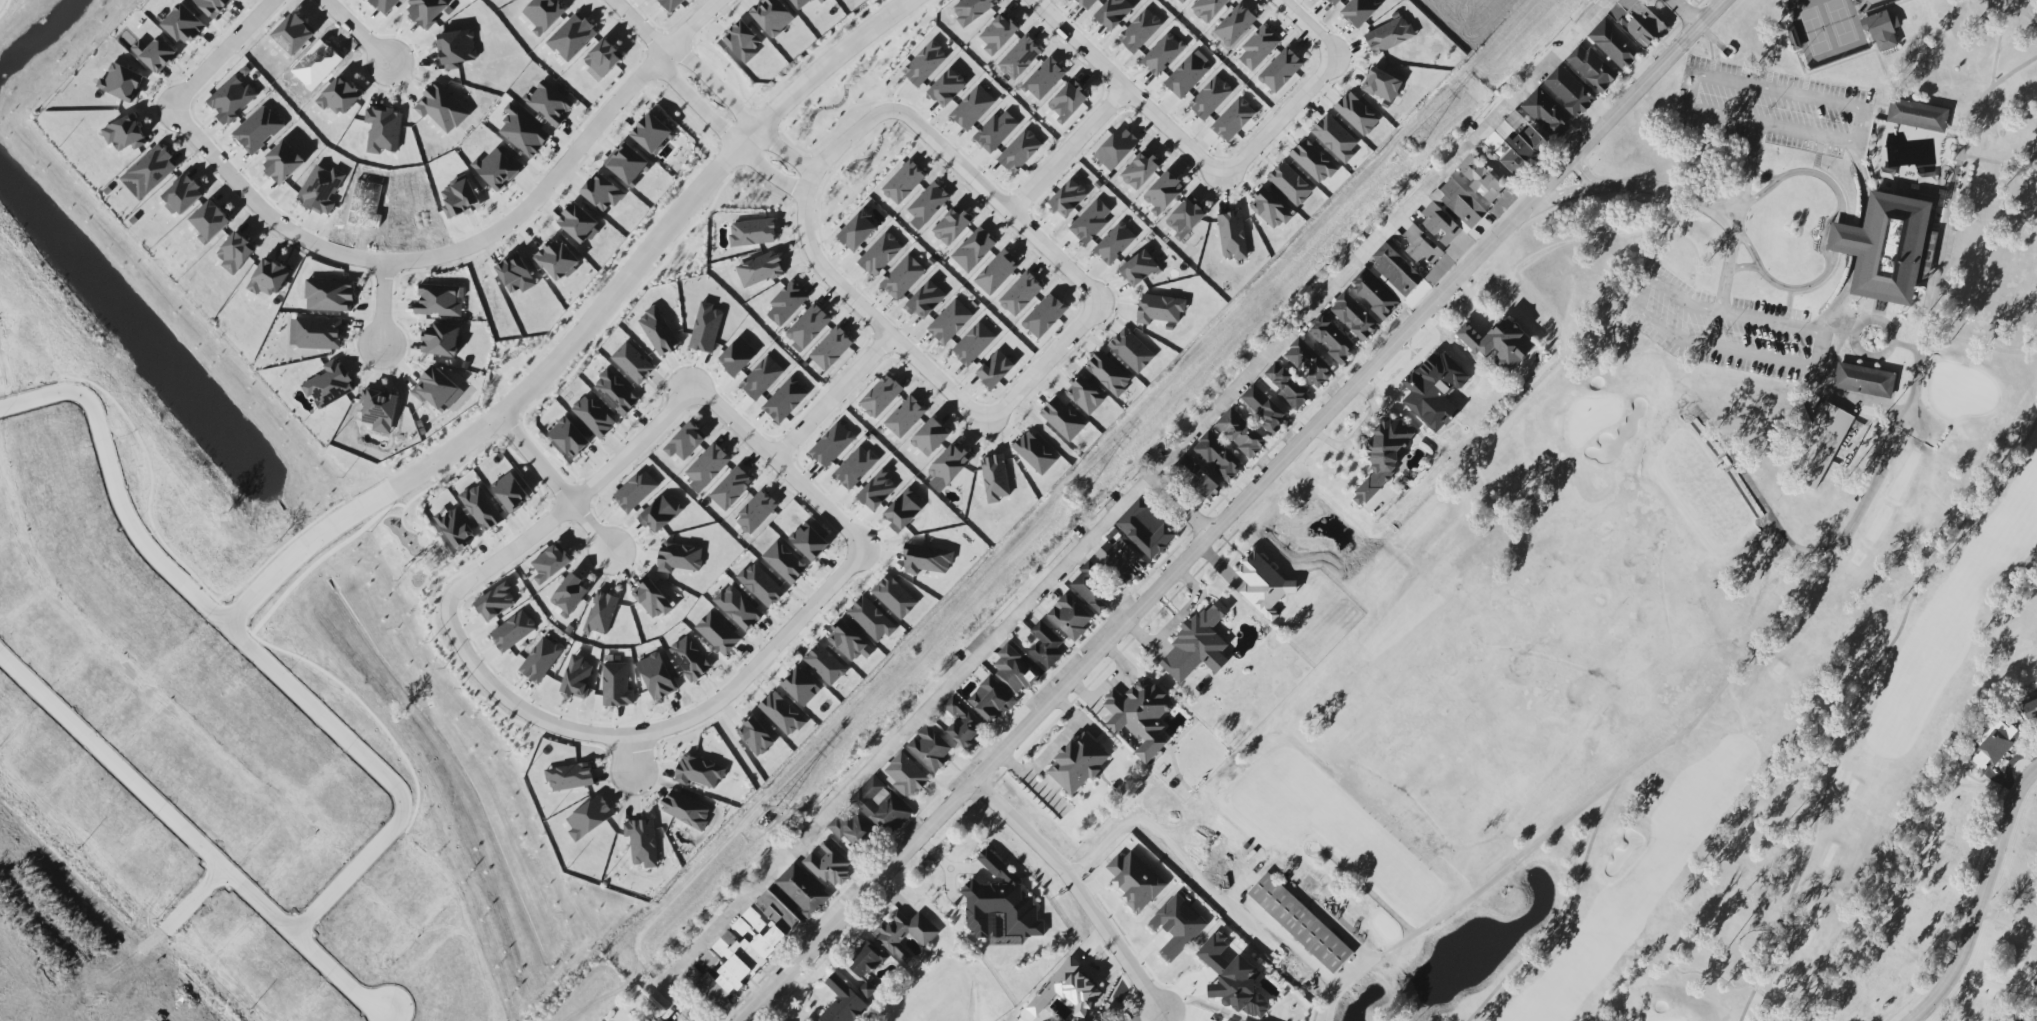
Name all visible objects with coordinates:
building: (1180, 1)
building: (1334, 2)
building: (801, 3)
building: (1086, 3)
building: (671, 4)
building: (385, 5)
building: (213, 6)
building: (973, 9)
building: (1209, 9)
building: (426, 11)
building: (1360, 11)
building: (1114, 13)
building: (544, 14)
road: (1690, 14)
building: (773, 16)
building: (1638, 21)
building: (183, 24)
building: (1235, 25)
road: (637, 27)
road: (1307, 29)
building: (1883, 30)
building: (1140, 31)
road: (356, 33)
building: (294, 34)
building: (998, 34)
building: (1389, 35)
building: (572, 37)
building: (743, 42)
building: (1615, 44)
road: (1066, 45)
building: (1259, 47)
building: (457, 49)
building: (156, 53)
building: (1163, 53)
road: (223, 55)
building: (604, 58)
building: (1020, 58)
building: (925, 63)
building: (1592, 68)
building: (1281, 70)
building: (1187, 76)
building: (1044, 79)
road: (810, 80)
building: (122, 83)
park: (854, 86)
building: (1382, 86)
building: (947, 88)
road: (1126, 91)
building: (1569, 91)
building: (339, 97)
building: (1210, 98)
building: (231, 100)
building: (1068, 101)
building: (549, 103)
building: (441, 108)
building: (972, 108)
road: (740, 111)
building: (1547, 113)
building: (1357, 114)
building: (1918, 115)
building: (1233, 119)
road: (1280, 121)
building: (258, 129)
building: (383, 129)
building: (996, 131)
building: (524, 133)
building: (125, 134)
building: (652, 134)
road: (723, 134)
road: (949, 137)
building: (1335, 138)
building: (1516, 142)
road: (1859, 143)
power tower: (1412, 147)
building: (1116, 148)
building: (1020, 151)
road: (1068, 154)
road: (1213, 154)
road: (1999, 157)
road: (570, 161)
building: (1313, 161)
building: (283, 163)
building: (627, 163)
building: (498, 169)
park: (861, 171)
building: (1140, 171)
building: (150, 172)
road: (1502, 173)
road: (1580, 173)
road: (1764, 173)
building: (1480, 177)
building: (904, 182)
building: (1290, 184)
road: (1624, 186)
road: (1954, 187)
building: (321, 189)
building: (603, 192)
building: (1164, 193)
building: (183, 195)
building: (1068, 198)
building: (928, 205)
road: (998, 205)
building: (1270, 209)
road: (262, 211)
building: (1452, 212)
building: (1186, 218)
building: (210, 222)
building: (1091, 222)
building: (952, 226)
building: (858, 231)
building: (753, 233)
road: (1736, 235)
building: (1232, 236)
road: (1381, 236)
building: (1115, 243)
road: (1863, 243)
building: (1420, 245)
building: (1885, 248)
building: (974, 249)
building: (236, 253)
building: (880, 254)
road: (803, 258)
building: (558, 260)
road: (1831, 266)
road: (1746, 267)
building: (1139, 268)
building: (1396, 269)
building: (760, 270)
building: (1924, 271)
building: (997, 273)
building: (516, 275)
building: (903, 277)
building: (269, 278)
road: (829, 280)
building: (1021, 294)
building: (1374, 294)
building: (330, 295)
building: (440, 300)
building: (926, 301)
road: (383, 303)
building: (786, 303)
building: (1159, 309)
building: (1044, 316)
building: (1354, 317)
building: (950, 322)
building: (808, 327)
building: (706, 328)
building: (658, 332)
building: (316, 333)
building: (1332, 339)
building: (442, 340)
building: (1499, 343)
building: (973, 344)
road: (1048, 344)
road: (569, 347)
building: (831, 348)
building: (1131, 350)
building: (737, 356)
building: (1309, 362)
building: (633, 363)
road: (1044, 366)
road: (1816, 367)
road: (861, 369)
building: (995, 369)
building: (1109, 373)
building: (762, 378)
building: (1864, 380)
building: (329, 385)
building: (1287, 385)
building: (437, 390)
building: (1434, 390)
building: (616, 393)
building: (1085, 395)
building: (881, 396)
building: (785, 400)
building: (1265, 409)
building: (379, 410)
building: (593, 416)
building: (905, 417)
building: (1063, 419)
road: (803, 427)
building: (1241, 433)
building: (930, 437)
building: (569, 438)
building: (686, 442)
building: (832, 445)
building: (1819, 445)
building: (1035, 453)
building: (1383, 456)
building: (1218, 457)
building: (708, 466)
building: (855, 467)
building: (948, 467)
building: (1197, 477)
building: (995, 478)
road: (555, 483)
road: (115, 486)
building: (731, 488)
building: (510, 491)
building: (636, 491)
building: (877, 491)
power tower: (1078, 503)
road: (1182, 504)
building: (481, 508)
road: (1236, 508)
road: (847, 511)
building: (756, 512)
building: (658, 514)
building: (456, 528)
building: (1146, 529)
road: (420, 537)
building: (809, 543)
road: (301, 550)
building: (679, 558)
building: (1121, 559)
building: (927, 560)
building: (552, 562)
building: (784, 562)
park: (1686, 562)
building: (1263, 584)
building: (761, 585)
building: (1091, 587)
building: (570, 595)
building: (895, 597)
building: (652, 598)
building: (496, 602)
park: (435, 605)
building: (738, 608)
building: (601, 613)
building: (1070, 617)
building: (871, 619)
building: (513, 631)
building: (718, 633)
road: (1768, 637)
building: (848, 641)
helipad: (332, 643)
building: (1198, 644)
building: (1046, 645)
building: (690, 659)
building: (541, 660)
road: (758, 664)
building: (825, 665)
building: (1014, 670)
building: (657, 676)
building: (577, 678)
building: (616, 685)
building: (801, 687)
building: (992, 700)
road: (1858, 706)
building: (2031, 709)
building: (782, 714)
road: (661, 715)
building: (1141, 716)
building: (963, 724)
road: (908, 729)
building: (756, 736)
building: (1993, 746)
building: (930, 748)
road: (1052, 748)
road: (633, 758)
building: (1078, 763)
building: (699, 772)
road: (380, 773)
building: (905, 775)
building: (569, 777)
building: (882, 806)
building: (686, 810)
building: (589, 818)
power tower: (761, 823)
road: (1022, 828)
building: (851, 829)
road: (191, 838)
building: (642, 842)
road: (1170, 856)
building: (829, 866)
building: (1135, 880)
road: (1367, 889)
building: (802, 890)
road: (1465, 895)
road: (1982, 898)
building: (1001, 902)
building: (1300, 923)
building: (1178, 926)
road: (161, 933)
building: (906, 934)
road: (1116, 944)
building: (746, 949)
building: (865, 960)
road: (61, 964)
building: (1233, 979)
building: (867, 988)
building: (1072, 988)
park: (950, 990)
road: (681, 1002)
building: (843, 1002)
road: (1206, 1003)
building: (659, 1019)
building: (808, 1020)
building: (1095, 1020)

